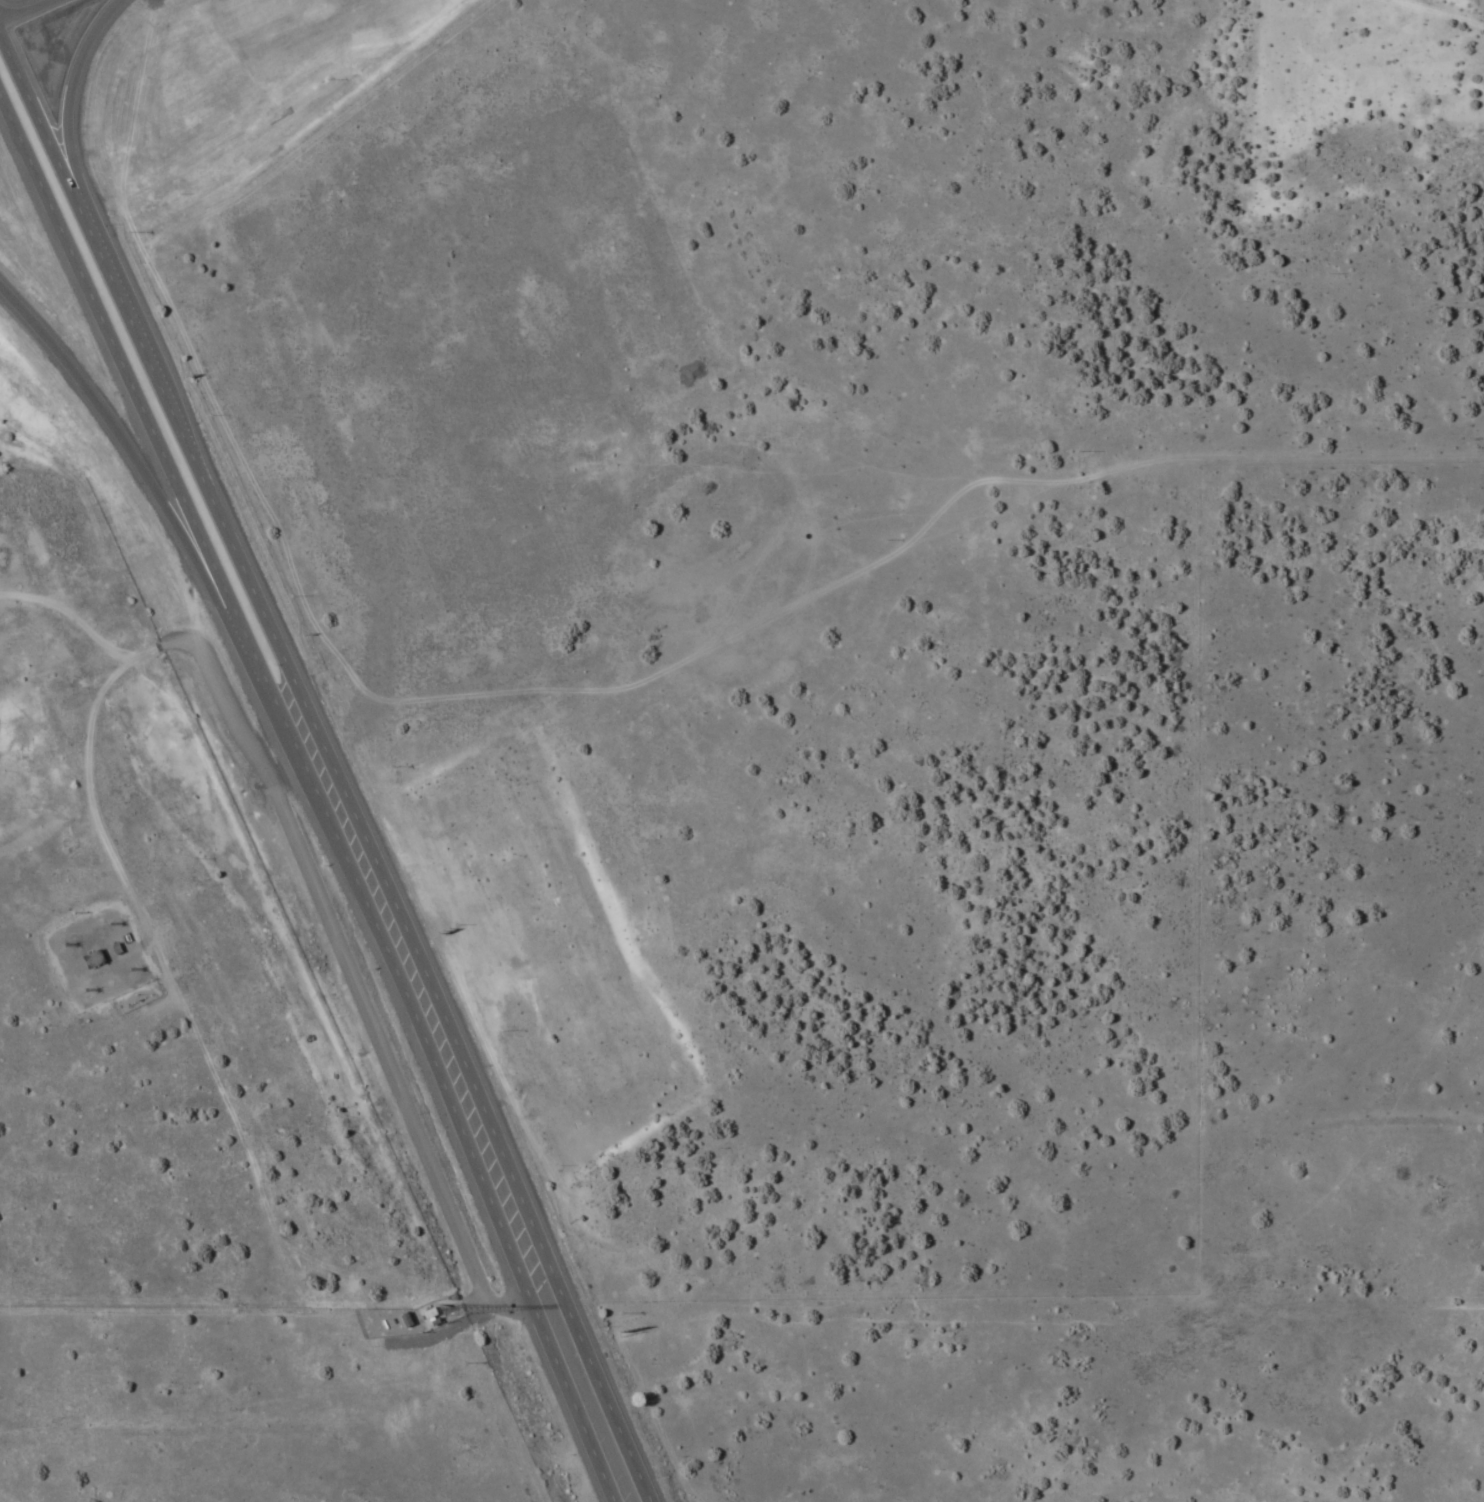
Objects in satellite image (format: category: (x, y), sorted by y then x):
road: (29, 11)
road: (63, 101)
road: (37, 132)
road: (114, 302)
road: (156, 495)
road: (71, 617)
road: (313, 795)
road: (86, 797)
road: (404, 943)
building: (89, 960)
road: (341, 963)
building: (426, 1317)

